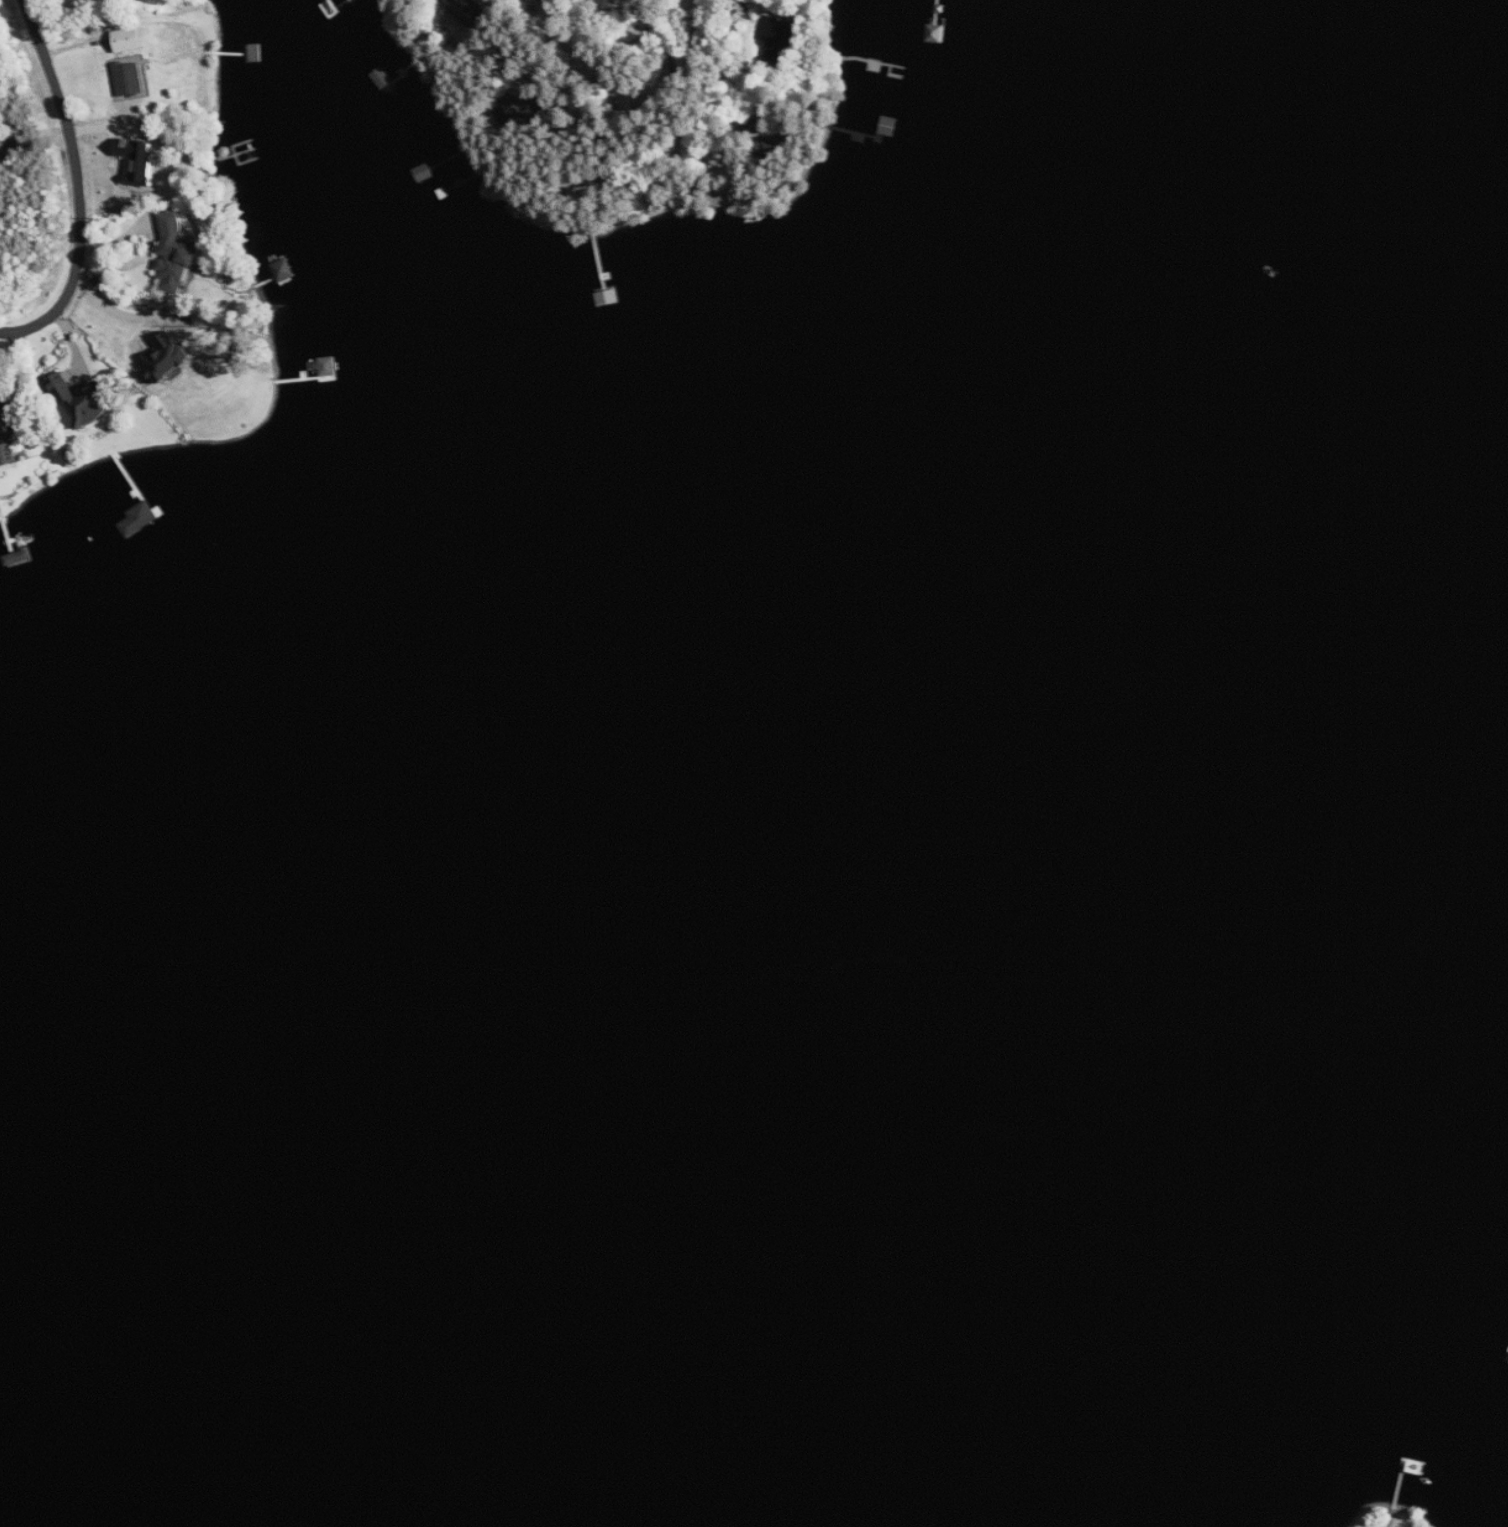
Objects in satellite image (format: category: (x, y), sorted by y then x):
road: (649, 20)
building: (778, 36)
building: (129, 40)
building: (130, 79)
building: (528, 112)
building: (139, 162)
road: (80, 188)
building: (176, 254)
building: (284, 271)
road: (129, 316)
building: (168, 357)
building: (86, 401)
building: (7, 447)
building: (23, 450)
building: (141, 519)

